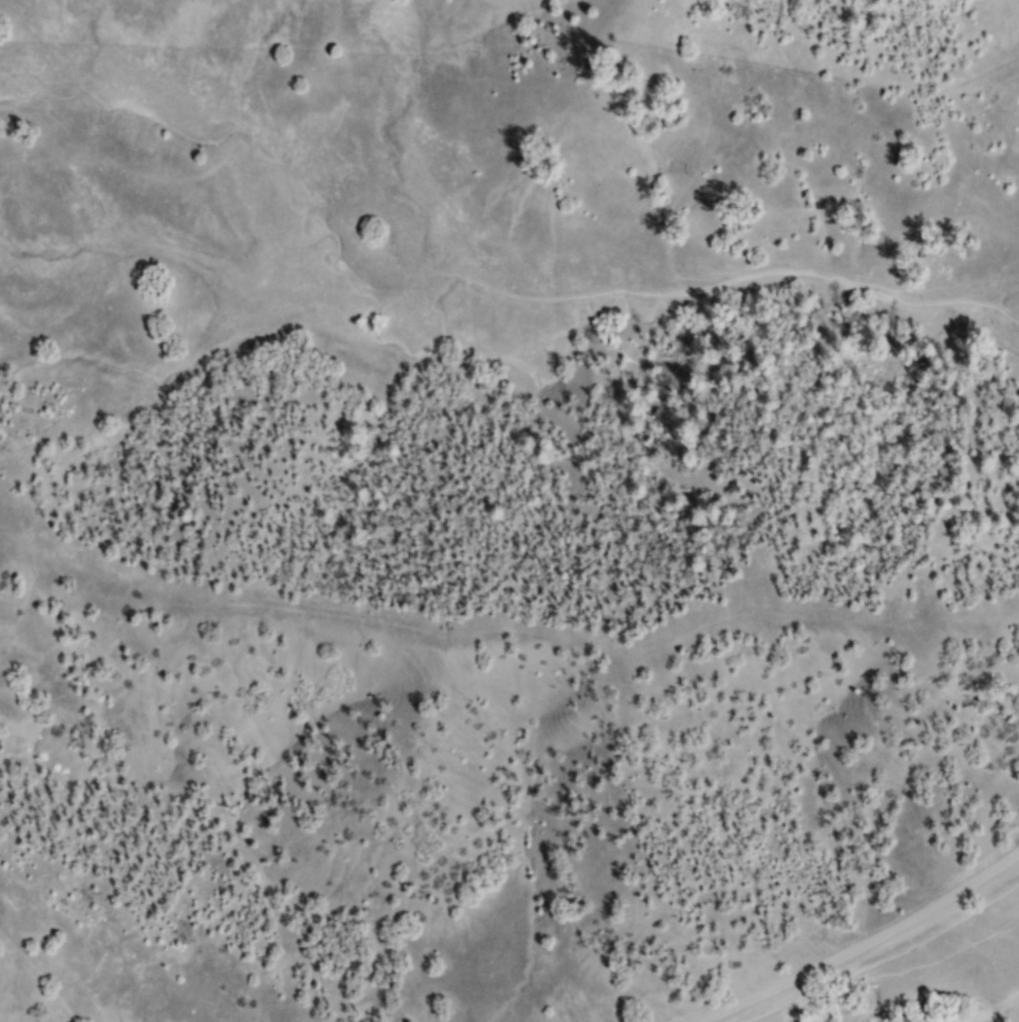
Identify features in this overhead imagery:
road: (869, 950)

